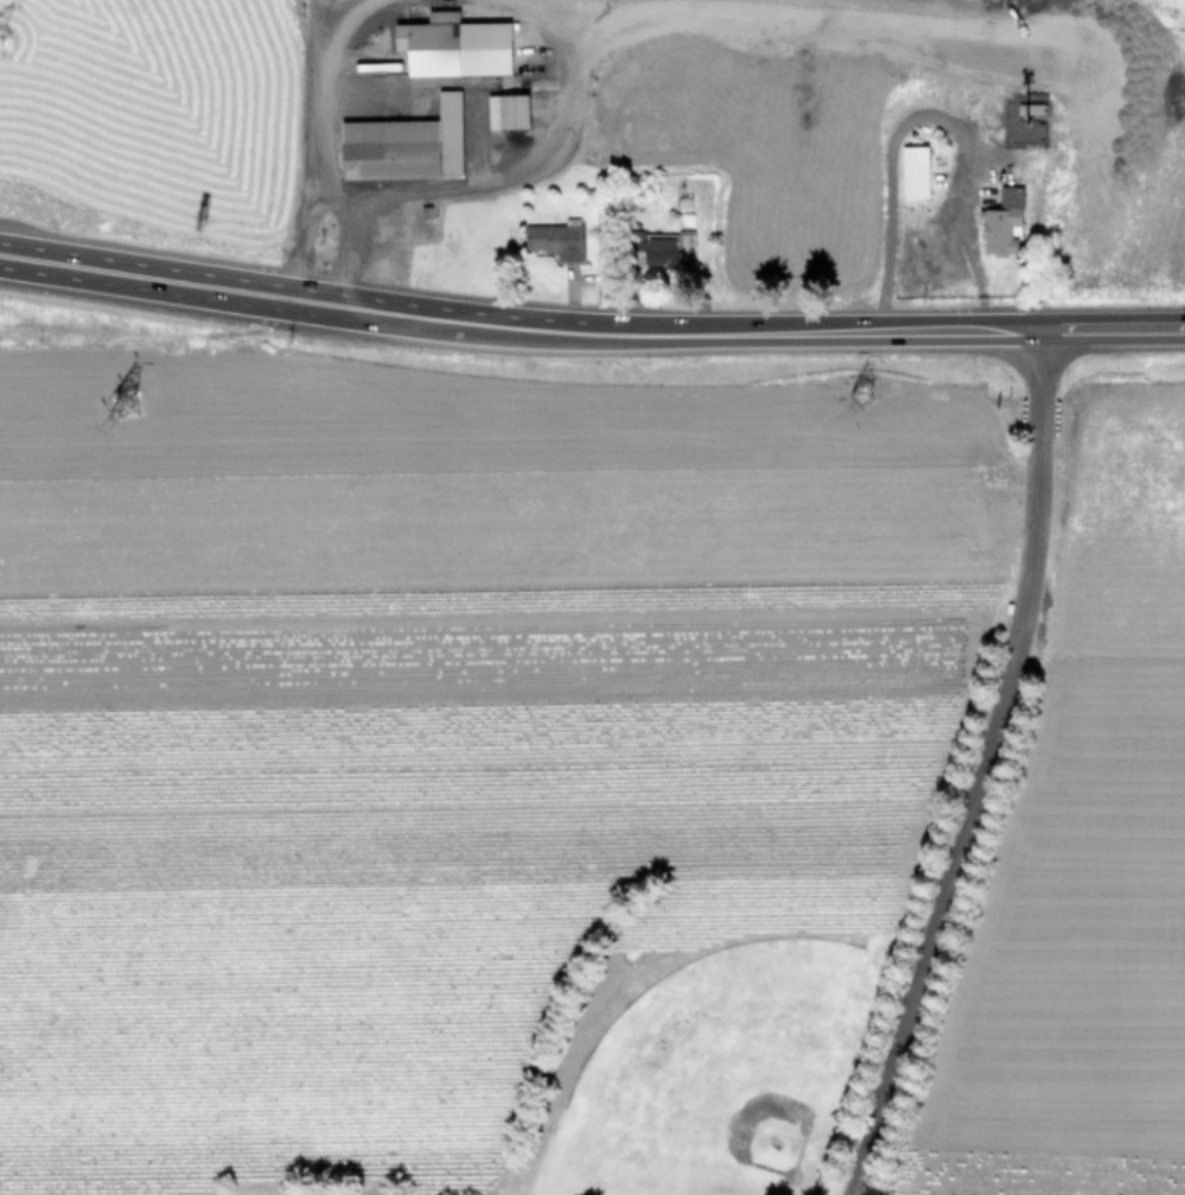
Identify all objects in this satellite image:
road: (318, 30)
building: (453, 45)
power tower: (1, 51)
crop: (644, 94)
building: (508, 110)
road: (316, 141)
building: (404, 144)
building: (913, 171)
road: (490, 178)
road: (890, 193)
building: (1001, 222)
building: (555, 239)
building: (667, 249)
road: (127, 274)
road: (339, 306)
road: (520, 328)
road: (899, 330)
power tower: (860, 379)
power tower: (129, 400)
road: (976, 767)
park: (734, 1062)

